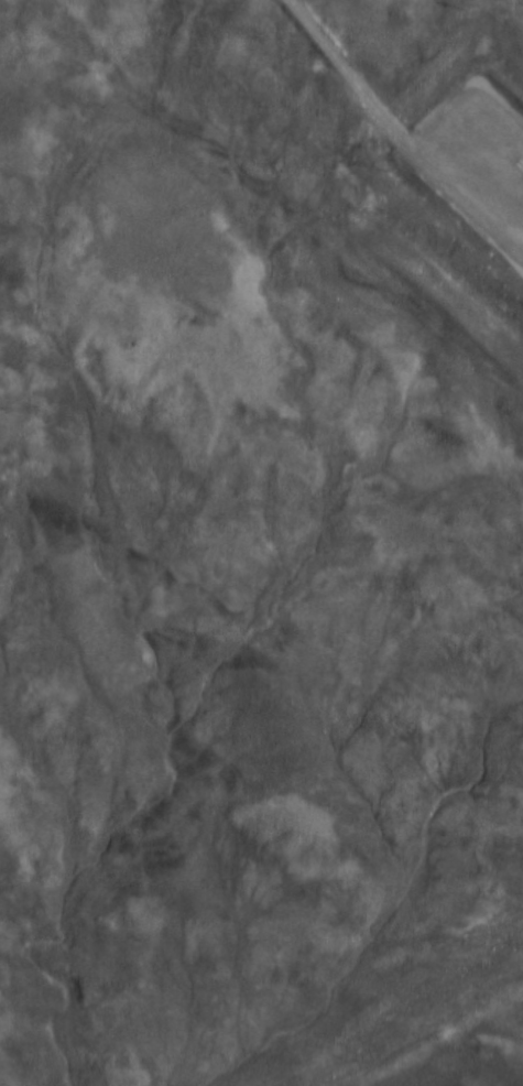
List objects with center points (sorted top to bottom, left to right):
road: (390, 126)

